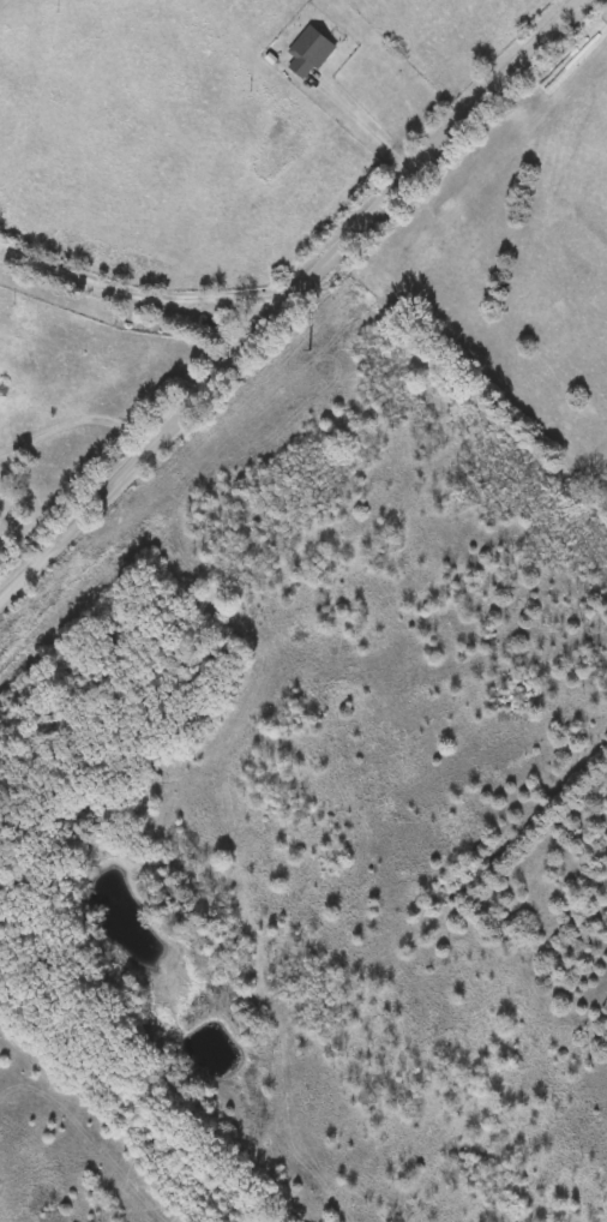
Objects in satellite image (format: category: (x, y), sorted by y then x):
road: (427, 38)
building: (309, 54)
road: (126, 293)
road: (298, 295)
road: (278, 298)
road: (74, 421)

